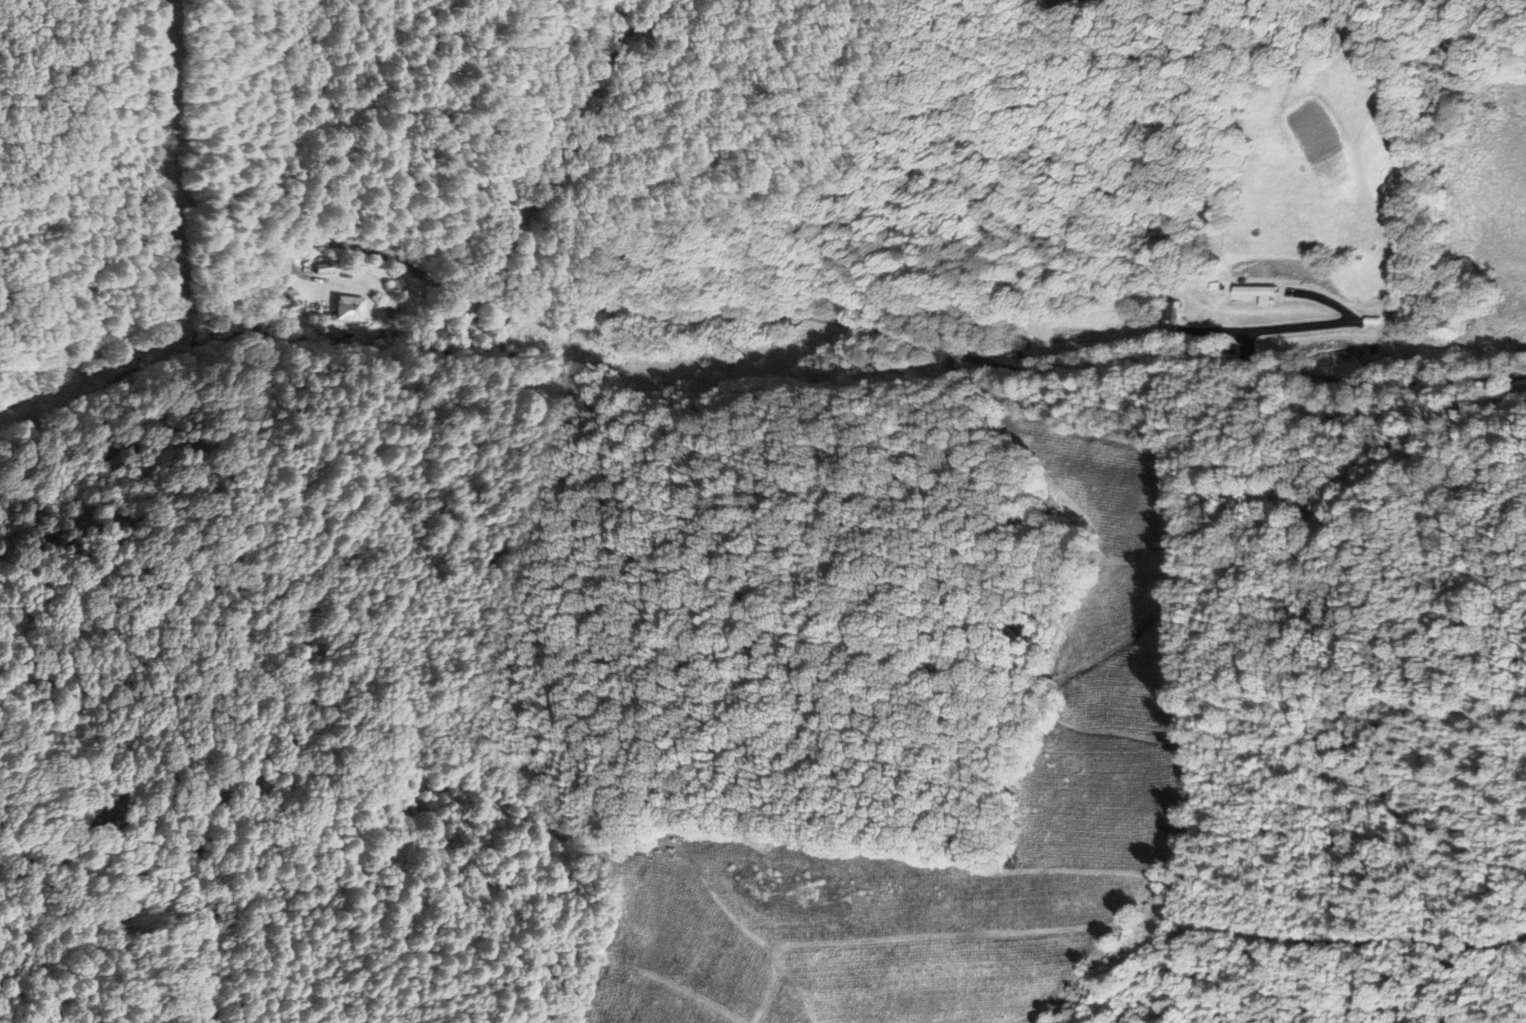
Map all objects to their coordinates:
road: (185, 158)
road: (988, 194)
road: (740, 318)
road: (965, 674)
road: (514, 820)

